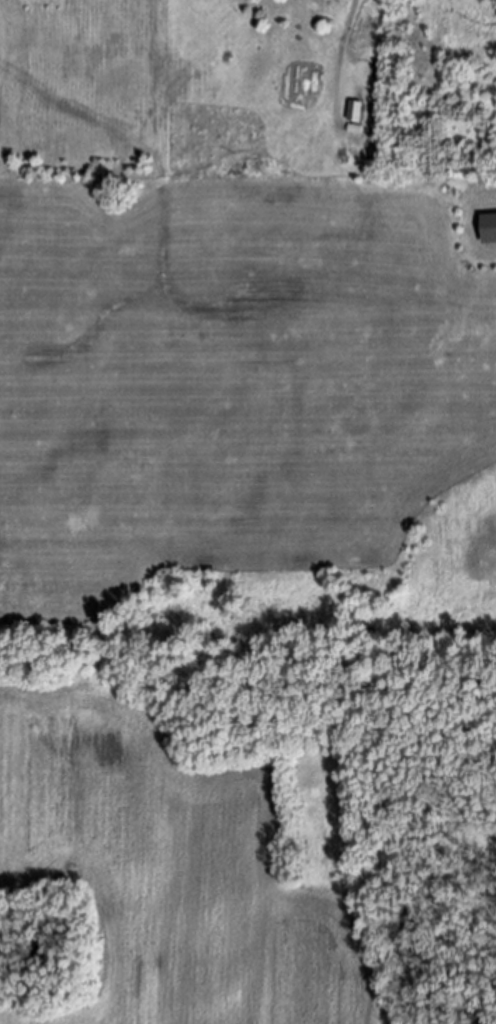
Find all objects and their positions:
building: (354, 110)
building: (488, 230)
crop: (226, 379)
crop: (169, 873)

